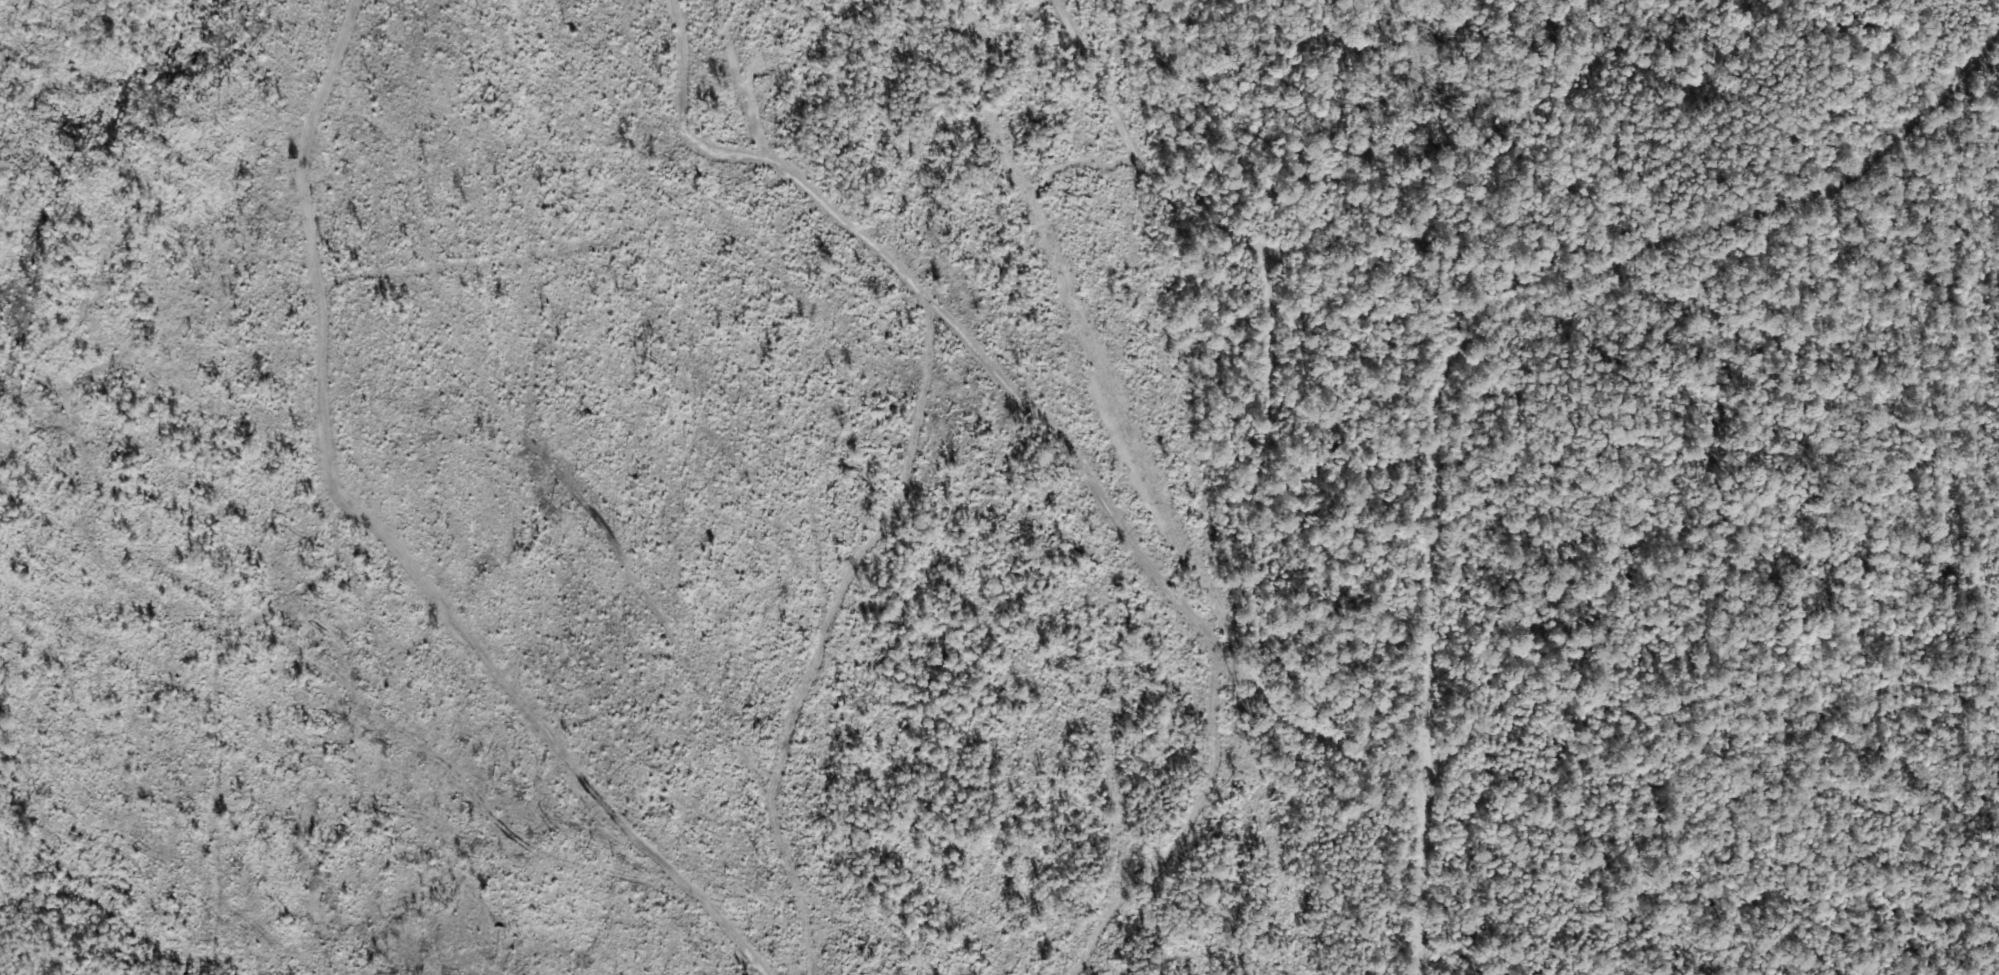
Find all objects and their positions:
road: (1565, 299)
road: (1266, 391)
road: (1422, 868)

